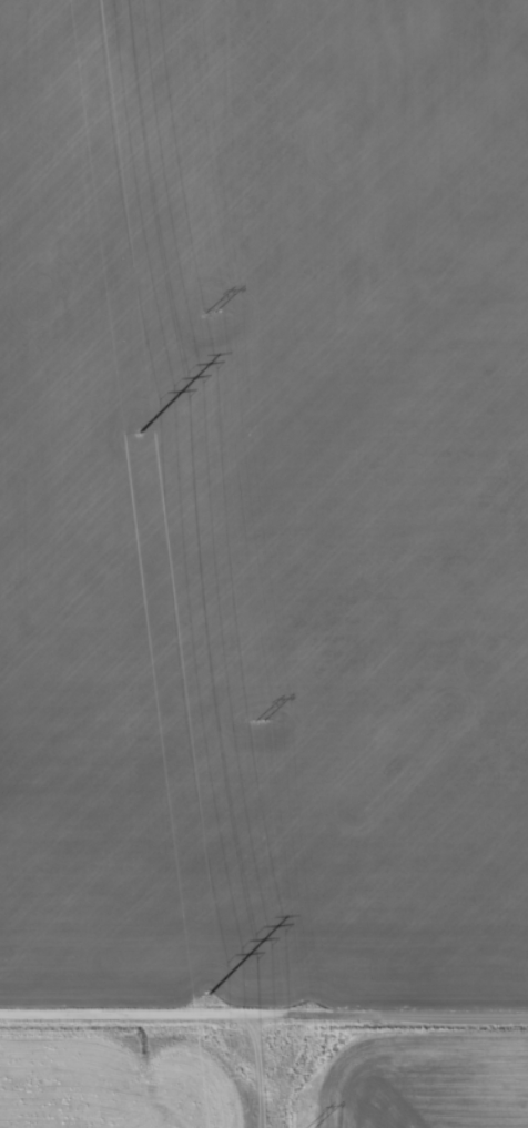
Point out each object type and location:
power tower: (210, 312)
power tower: (140, 431)
power tower: (258, 720)
power tower: (210, 995)
road: (264, 1008)
power tower: (307, 1126)

